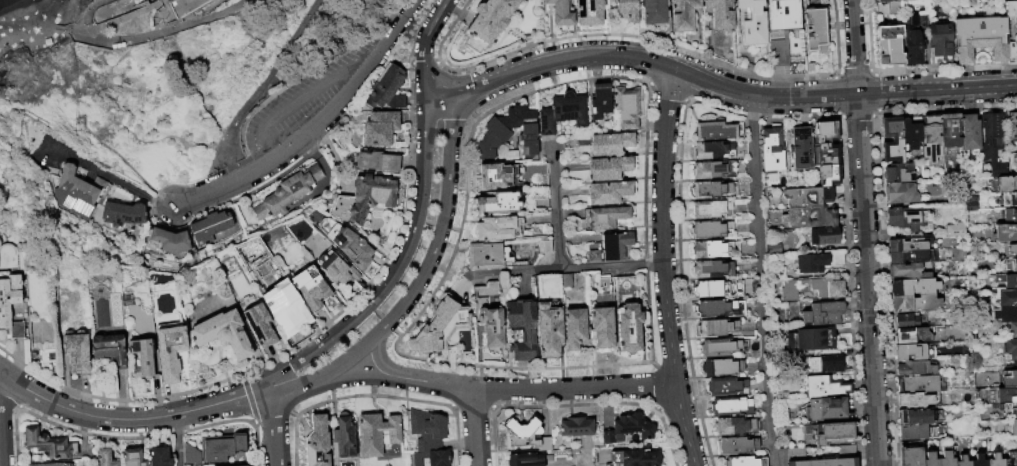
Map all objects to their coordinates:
building: (893, 6)
building: (626, 10)
building: (161, 12)
building: (561, 12)
building: (654, 12)
road: (406, 13)
building: (588, 13)
building: (719, 13)
building: (683, 14)
building: (490, 18)
building: (752, 22)
building: (814, 26)
building: (781, 28)
building: (1012, 28)
road: (147, 35)
building: (980, 38)
building: (913, 41)
building: (941, 41)
building: (889, 45)
road: (423, 47)
park: (181, 75)
road: (294, 80)
road: (258, 87)
road: (722, 87)
building: (387, 89)
road: (311, 92)
building: (600, 101)
parking lot: (301, 102)
building: (627, 106)
building: (563, 112)
road: (327, 117)
building: (1013, 126)
building: (892, 127)
building: (381, 128)
building: (950, 129)
building: (718, 130)
building: (509, 131)
building: (826, 131)
building: (970, 132)
building: (911, 133)
building: (932, 138)
building: (994, 142)
building: (611, 143)
building: (802, 147)
building: (772, 148)
building: (714, 150)
building: (894, 151)
road: (268, 152)
building: (828, 154)
building: (509, 157)
building: (378, 161)
building: (1015, 161)
building: (609, 167)
building: (714, 169)
building: (899, 173)
building: (497, 175)
building: (829, 175)
road: (108, 176)
building: (1007, 184)
building: (714, 189)
building: (78, 192)
building: (609, 192)
building: (903, 192)
building: (286, 193)
road: (203, 194)
building: (371, 197)
building: (809, 197)
building: (1009, 199)
building: (497, 201)
building: (712, 209)
building: (124, 214)
building: (607, 217)
building: (810, 217)
building: (907, 217)
building: (1011, 217)
building: (211, 227)
building: (493, 227)
building: (711, 229)
building: (955, 231)
road: (865, 232)
building: (1005, 233)
building: (824, 235)
building: (170, 240)
building: (348, 244)
building: (913, 244)
building: (545, 246)
building: (612, 247)
building: (713, 248)
building: (1012, 249)
road: (557, 255)
building: (488, 256)
building: (907, 257)
building: (813, 262)
road: (397, 266)
building: (1011, 266)
road: (663, 267)
building: (713, 268)
building: (337, 269)
road: (511, 269)
building: (908, 271)
road: (420, 280)
road: (761, 280)
building: (1007, 280)
building: (913, 287)
building: (719, 288)
building: (814, 288)
building: (311, 289)
building: (10, 290)
building: (1007, 298)
building: (915, 303)
building: (286, 308)
building: (721, 308)
building: (824, 312)
building: (1006, 314)
building: (490, 315)
building: (906, 321)
building: (260, 325)
building: (440, 326)
building: (602, 327)
building: (717, 327)
building: (522, 328)
building: (575, 328)
building: (1013, 330)
building: (631, 331)
building: (550, 333)
building: (223, 334)
building: (914, 335)
building: (815, 338)
building: (791, 341)
building: (723, 347)
building: (1011, 348)
building: (111, 349)
building: (77, 352)
building: (910, 352)
building: (171, 357)
building: (145, 358)
building: (826, 360)
building: (722, 367)
building: (916, 368)
road: (0, 369)
building: (1009, 379)
building: (920, 384)
building: (826, 386)
building: (727, 387)
road: (511, 389)
building: (1007, 395)
building: (920, 399)
building: (730, 405)
building: (826, 408)
building: (1010, 409)
building: (916, 417)
road: (3, 418)
road: (131, 419)
road: (275, 426)
road: (475, 426)
building: (736, 426)
building: (1012, 427)
building: (576, 428)
building: (629, 428)
building: (835, 432)
building: (917, 432)
building: (377, 433)
building: (528, 433)
building: (346, 436)
building: (430, 438)
road: (177, 440)
building: (239, 442)
building: (319, 442)
building: (49, 444)
building: (738, 445)
building: (216, 448)
building: (910, 454)
building: (191, 455)
building: (107, 456)
building: (160, 456)
building: (133, 457)
building: (635, 457)
building: (946, 457)
road: (579, 459)
building: (1010, 459)
building: (526, 460)
building: (931, 460)
building: (995, 460)
building: (745, 461)
building: (963, 461)
building: (979, 461)
building: (825, 462)
building: (50, 464)
building: (240, 465)

